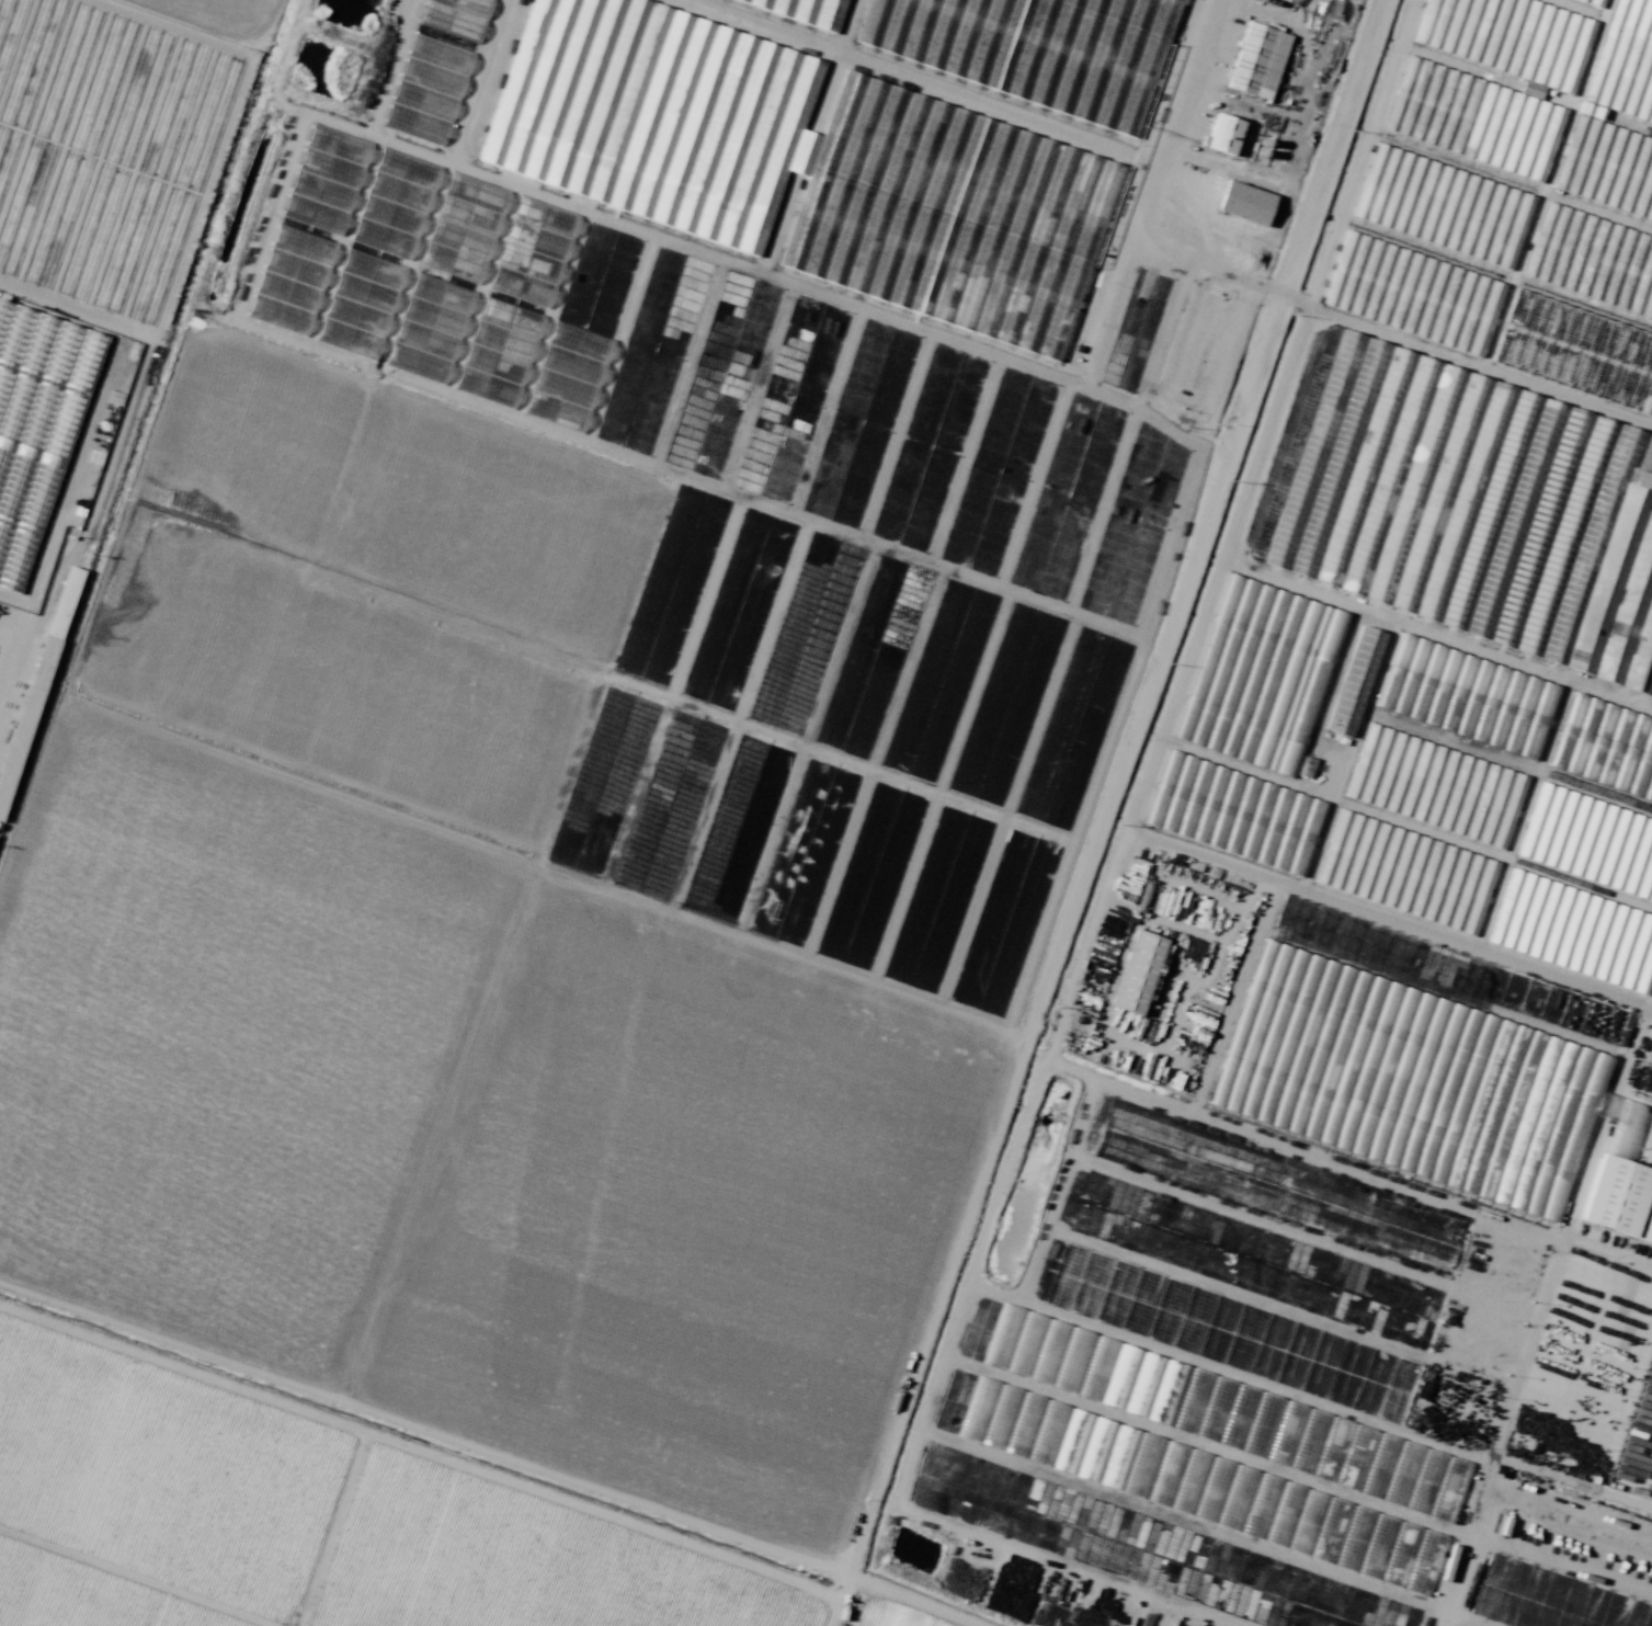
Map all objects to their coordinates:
building: (1258, 0)
crop: (238, 13)
building: (456, 16)
building: (1036, 48)
building: (1623, 55)
building: (1257, 60)
road: (486, 78)
building: (428, 89)
building: (1223, 134)
building: (804, 164)
building: (323, 180)
road: (1166, 181)
building: (1245, 203)
building: (1386, 205)
building: (533, 251)
building: (1548, 274)
building: (290, 280)
building: (363, 293)
building: (1405, 294)
building: (498, 352)
building: (566, 378)
building: (36, 424)
building: (1468, 494)
building: (1260, 674)
building: (1467, 696)
building: (1605, 747)
road: (1137, 805)
building: (1233, 812)
building: (1590, 841)
building: (1377, 891)
building: (1574, 931)
building: (1137, 971)
crop: (492, 1024)
building: (1620, 1199)
road: (1540, 1315)
road: (1570, 1506)
building: (1362, 1542)
road: (1560, 1571)
road: (1461, 1619)

